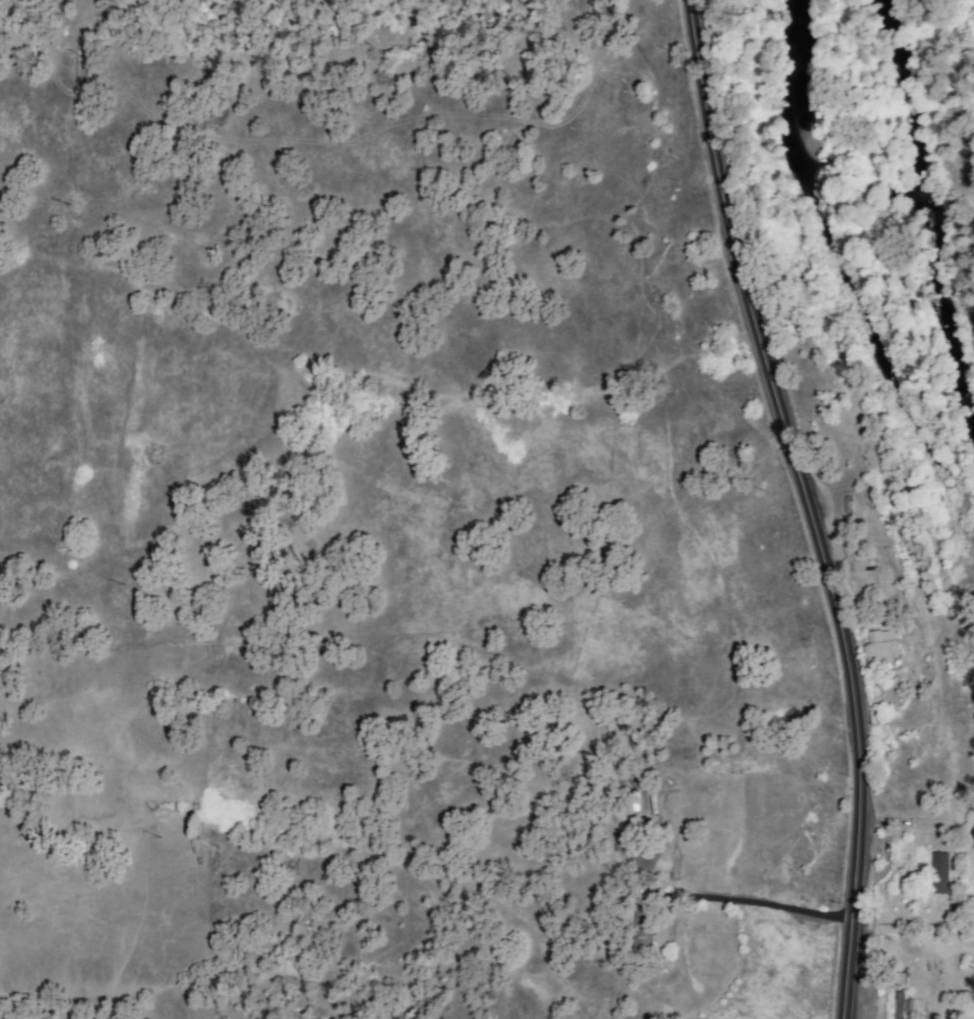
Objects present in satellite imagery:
river: (837, 254)
road: (806, 505)
building: (882, 647)
building: (940, 873)
road: (754, 902)
building: (901, 1005)

